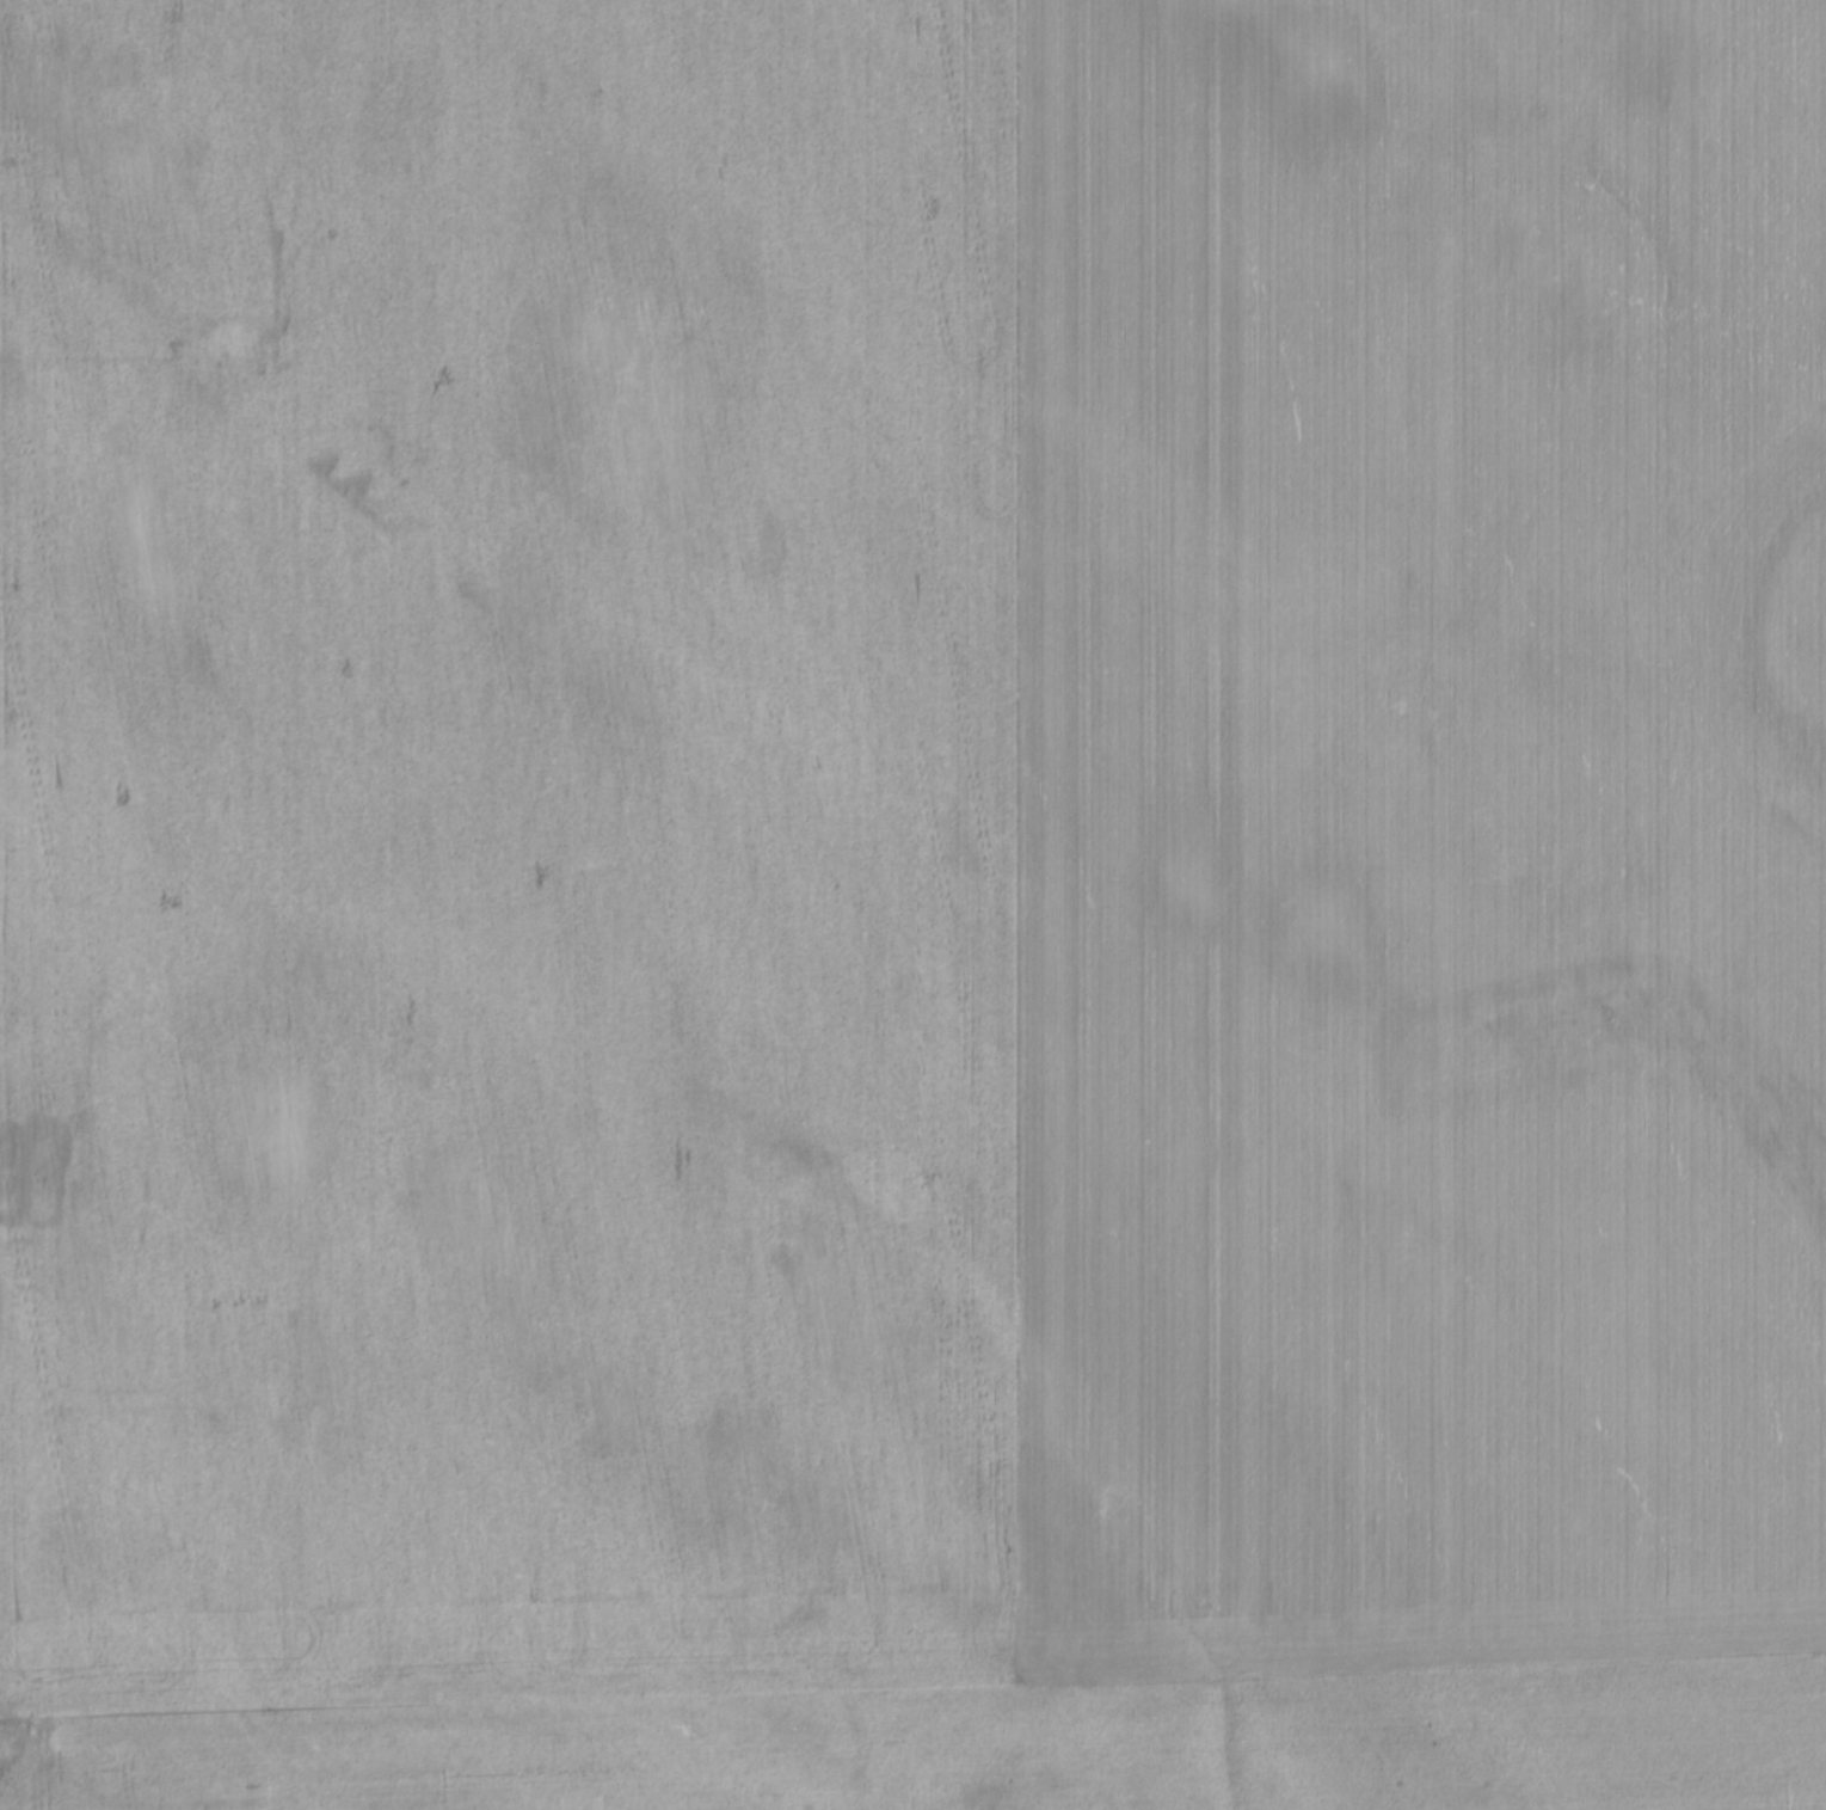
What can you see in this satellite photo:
crop: (912, 904)

